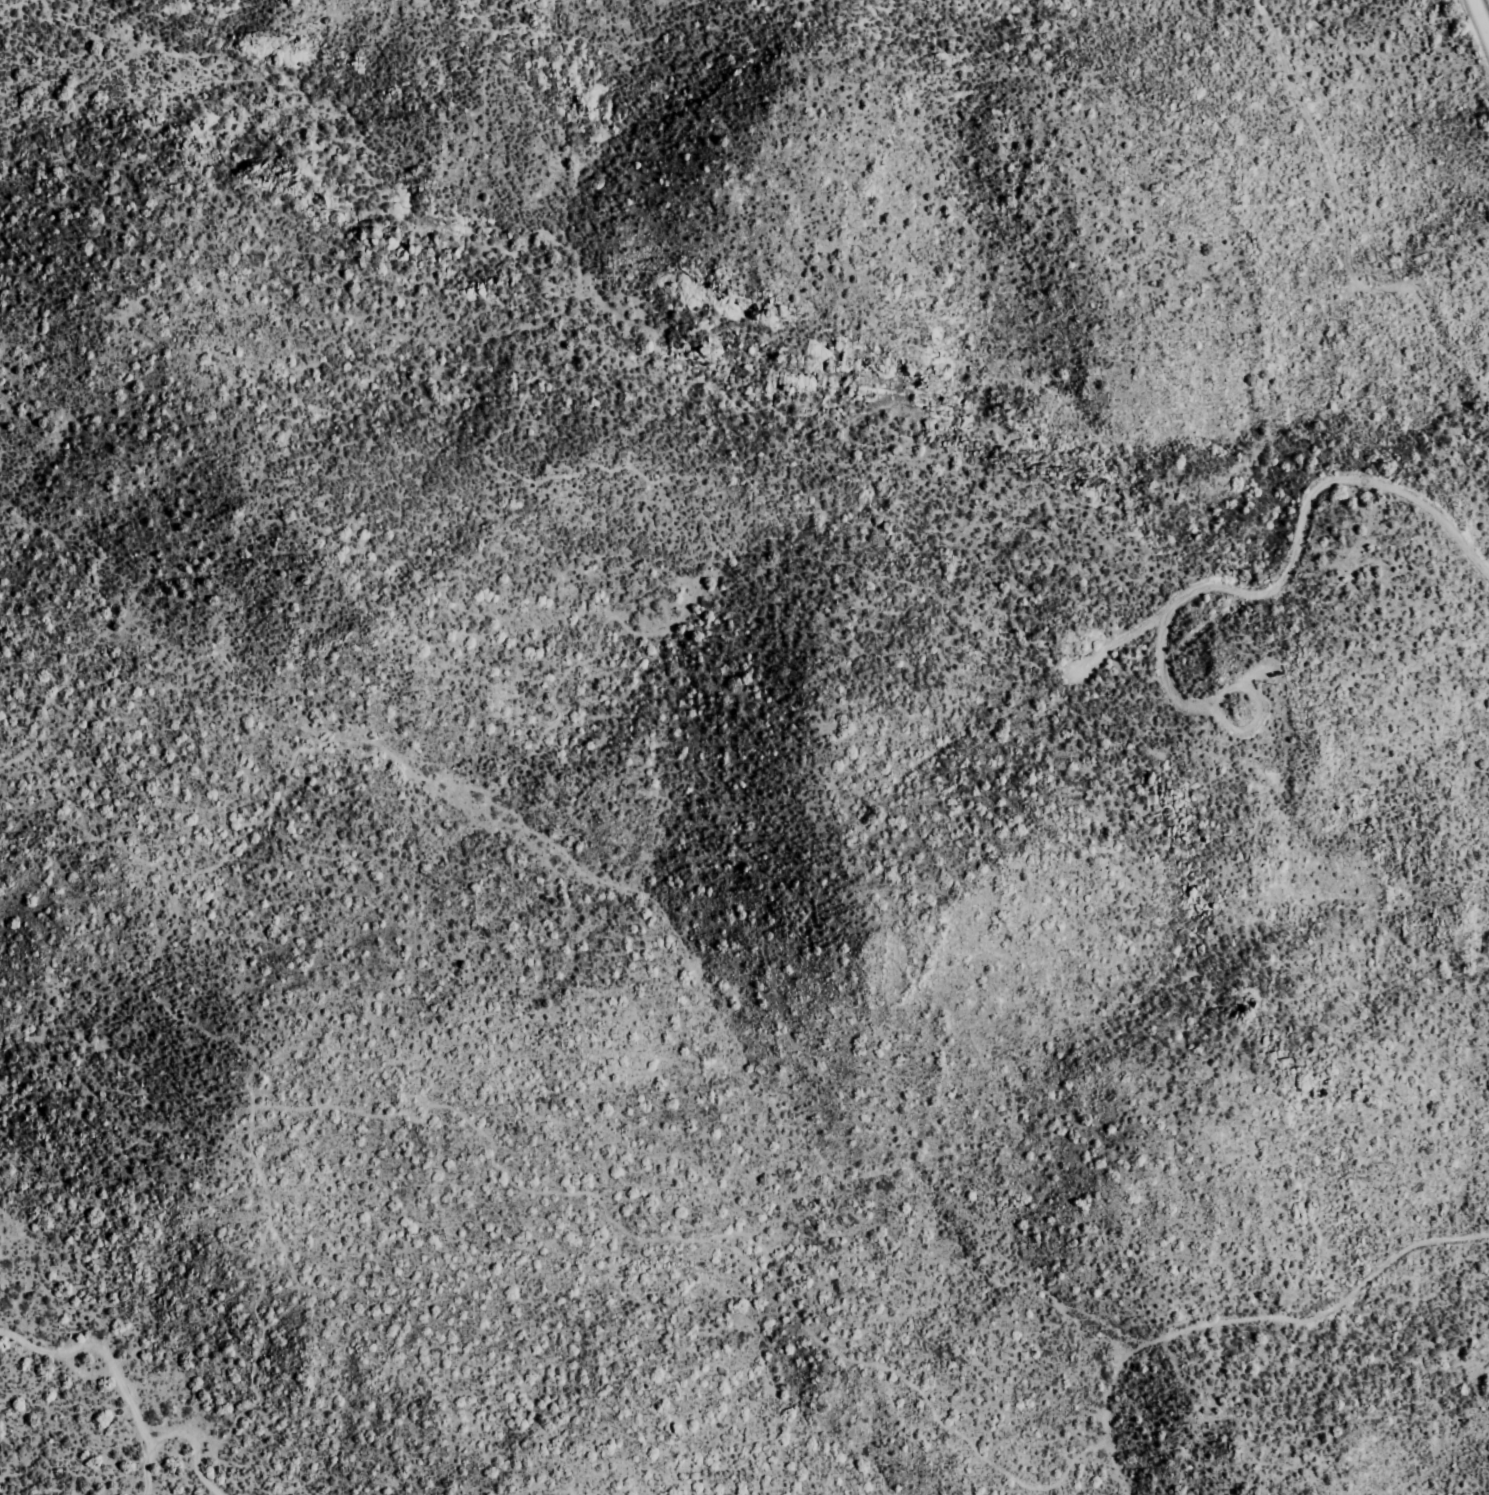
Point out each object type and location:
road: (1482, 15)
road: (488, 172)

